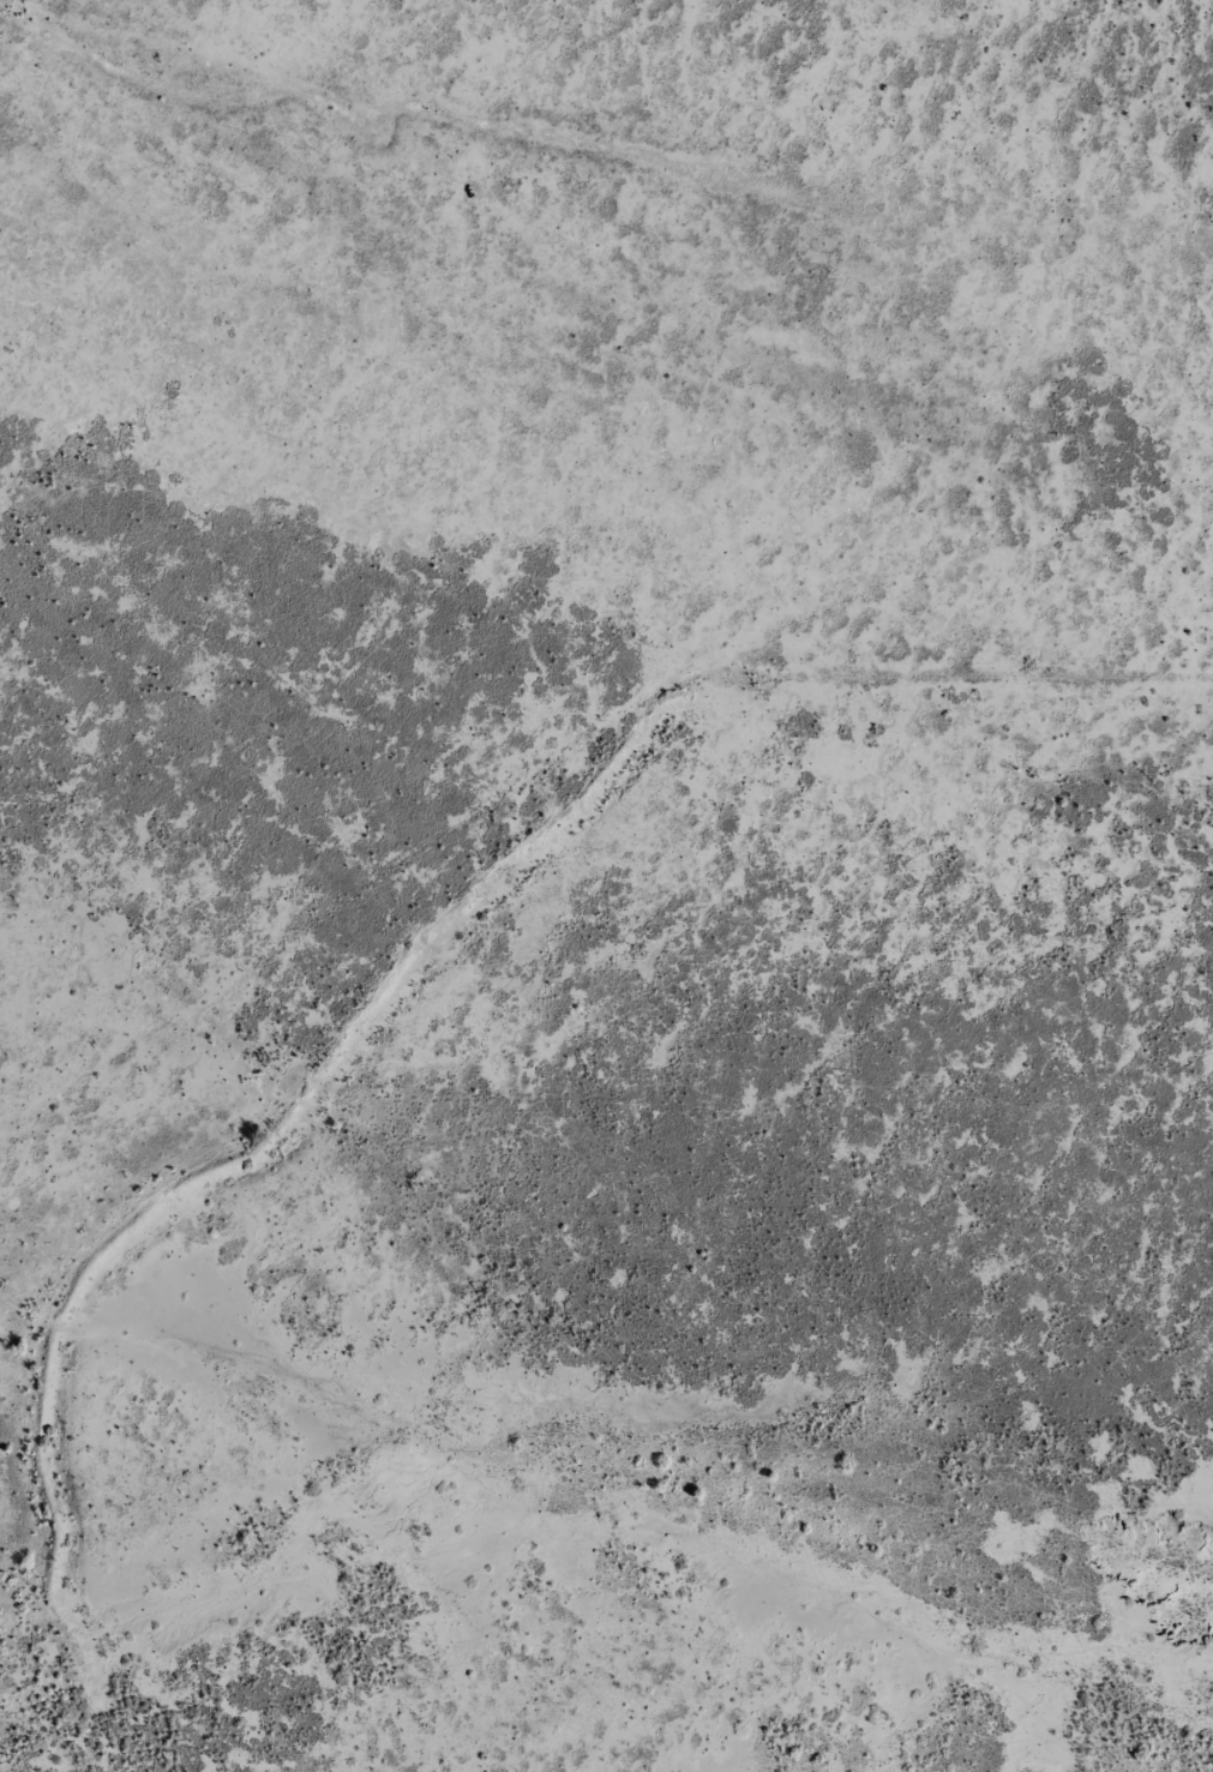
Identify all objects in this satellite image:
road: (568, 783)

